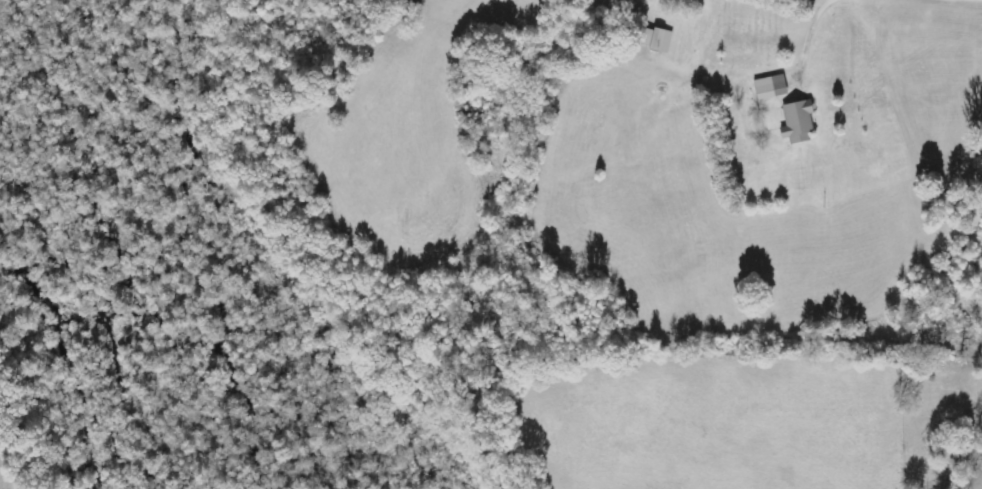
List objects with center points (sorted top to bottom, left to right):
building: (664, 40)
building: (774, 87)
building: (801, 121)

